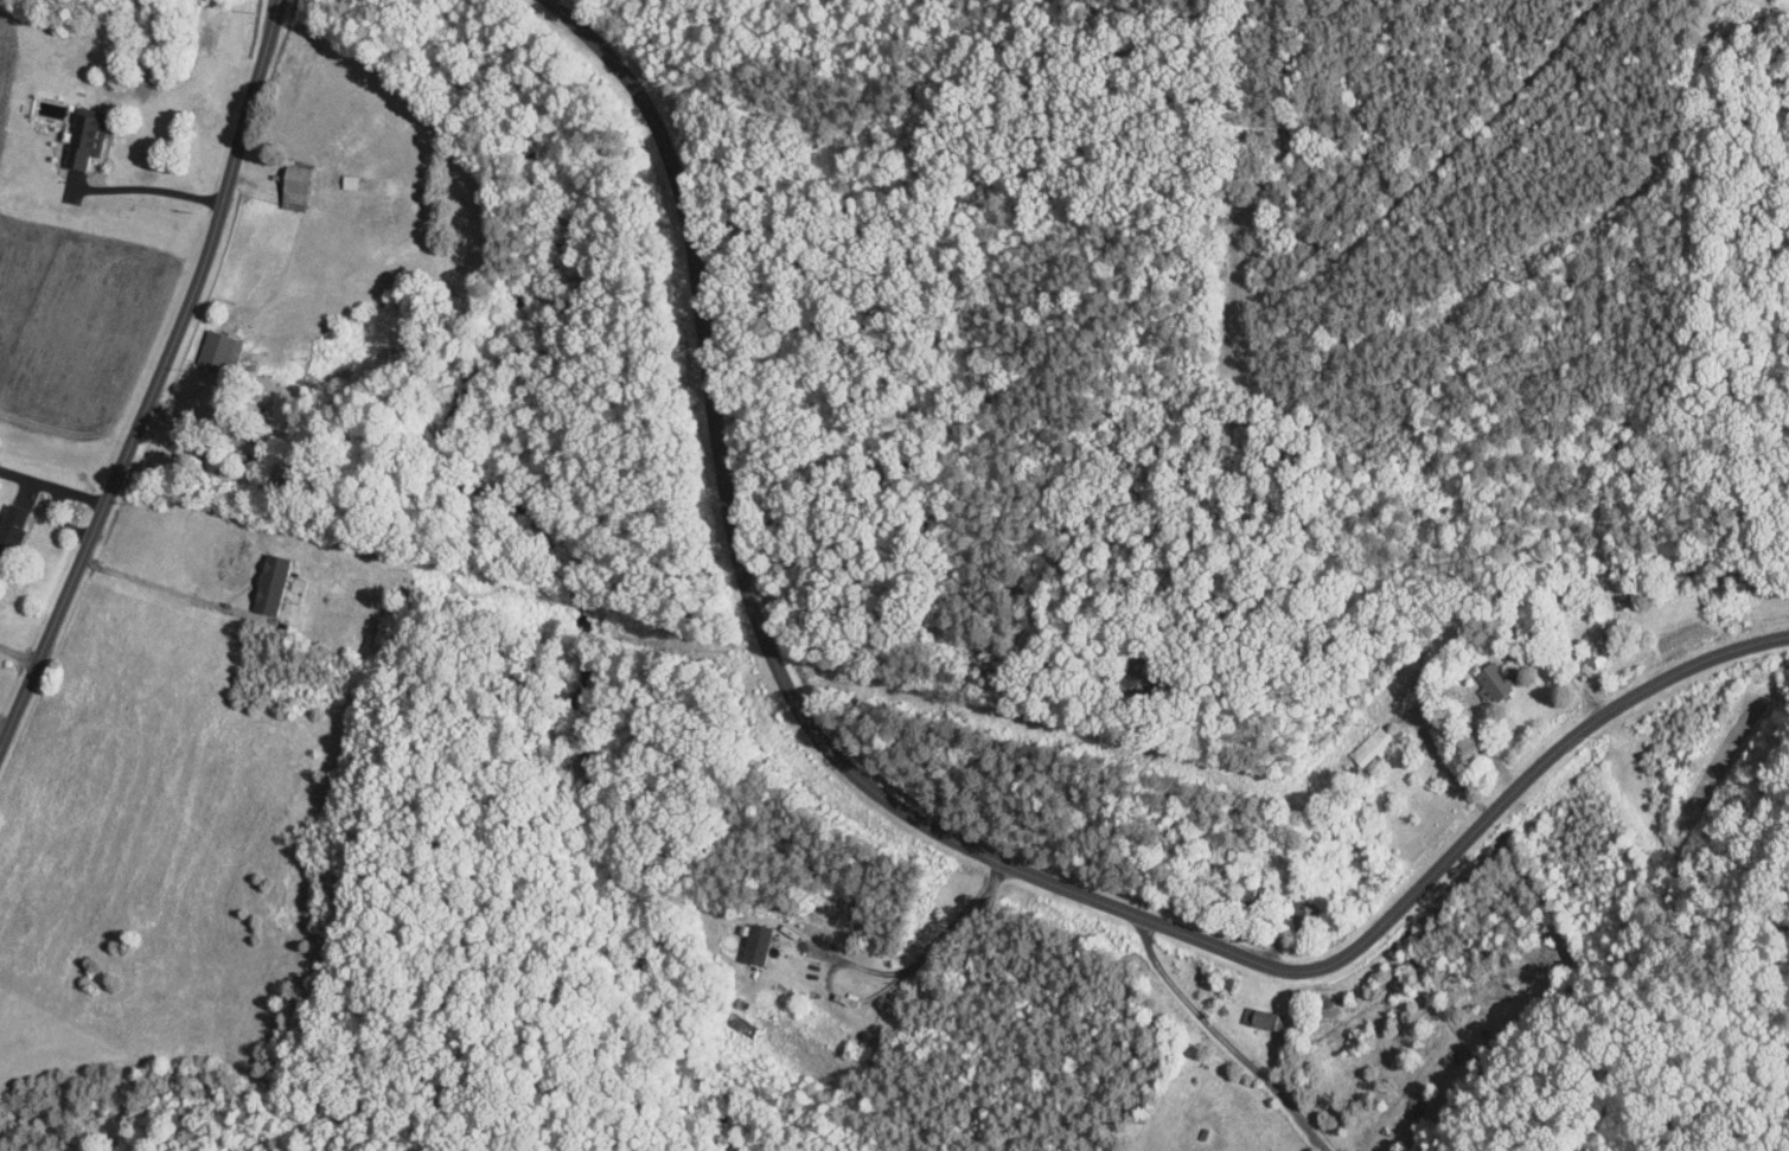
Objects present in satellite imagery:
building: (82, 142)
road: (142, 186)
building: (290, 187)
building: (217, 351)
road: (154, 377)
building: (9, 525)
building: (266, 582)
road: (168, 589)
building: (1597, 641)
road: (17, 652)
building: (1494, 680)
road: (4, 724)
building: (1369, 746)
road: (950, 836)
building: (752, 942)
road: (928, 951)
building: (1261, 1017)
road: (1223, 1038)

